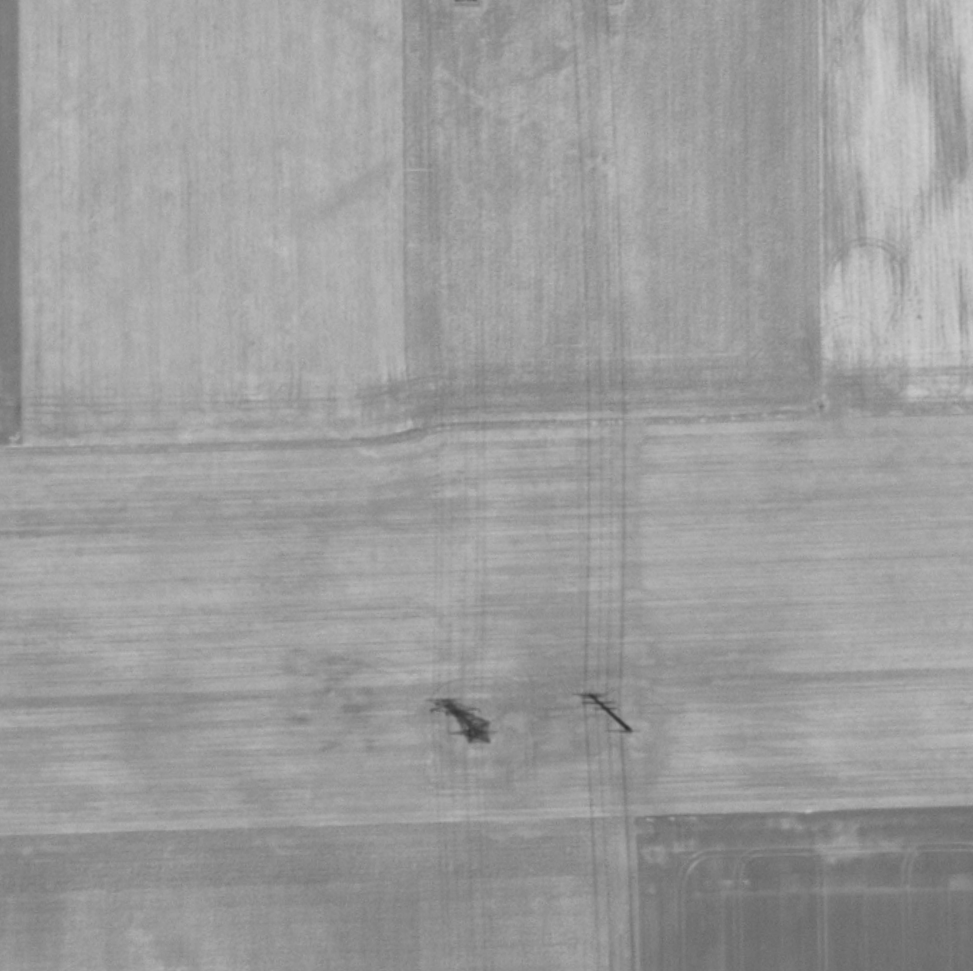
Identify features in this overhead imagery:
power tower: (622, 3)
power tower: (632, 721)
power tower: (484, 727)

